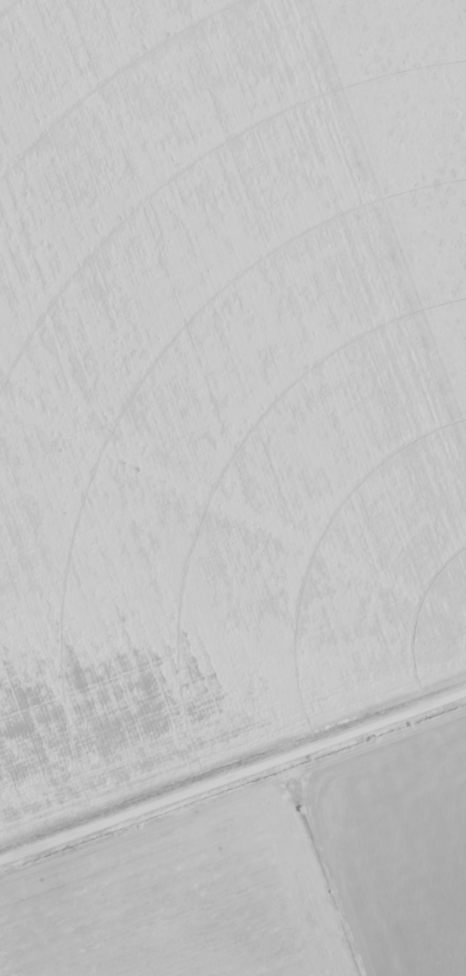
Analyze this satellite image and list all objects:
road: (233, 770)

